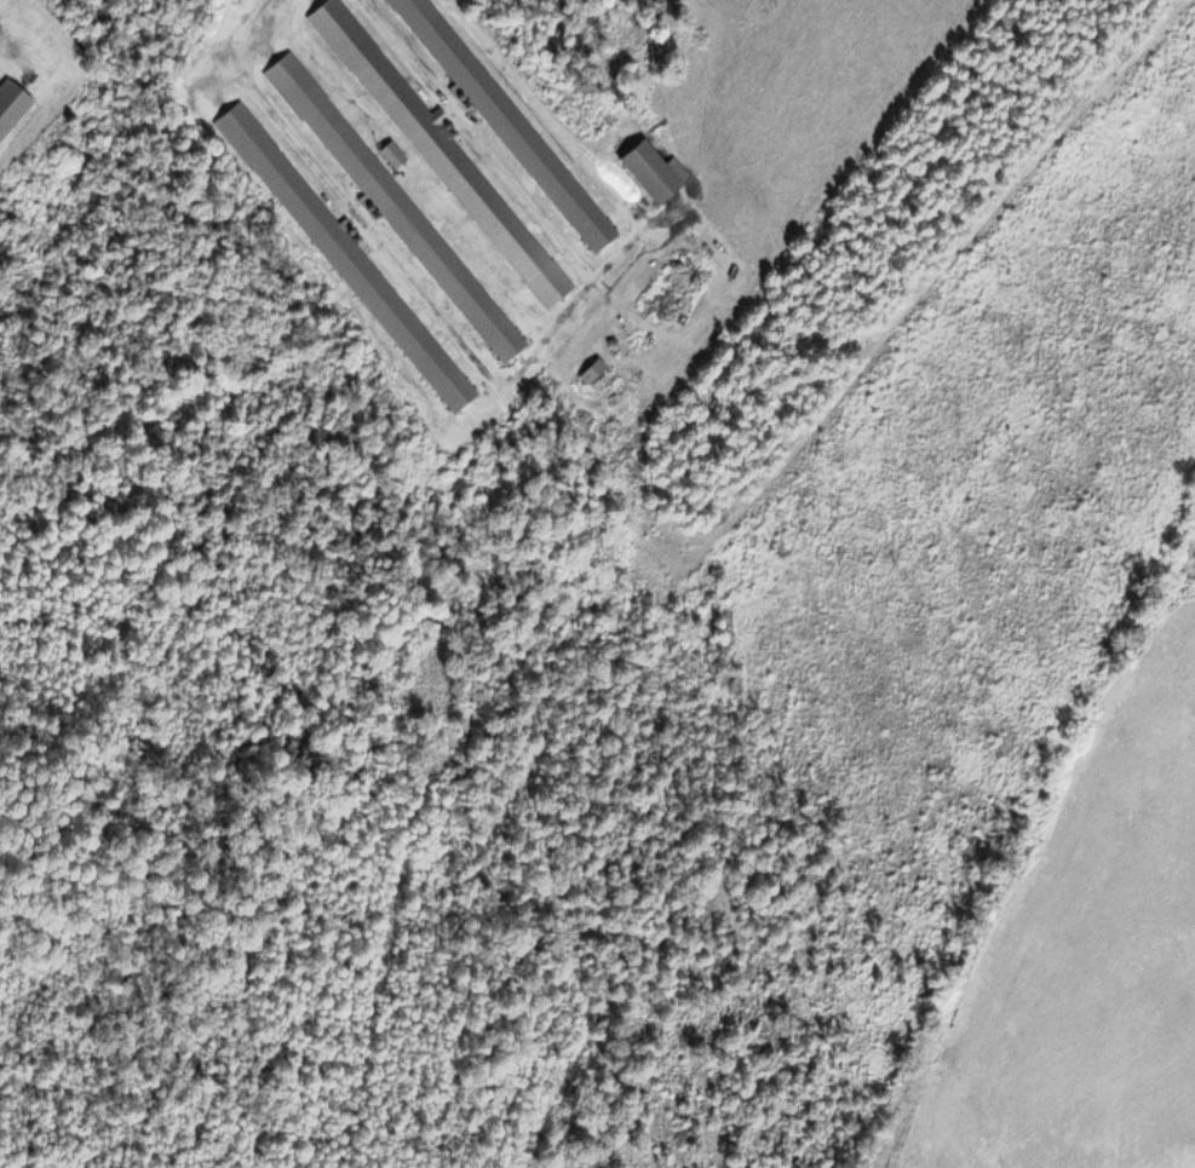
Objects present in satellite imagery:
building: (10, 104)
building: (504, 125)
building: (439, 154)
building: (391, 156)
building: (648, 172)
building: (393, 208)
building: (344, 259)

